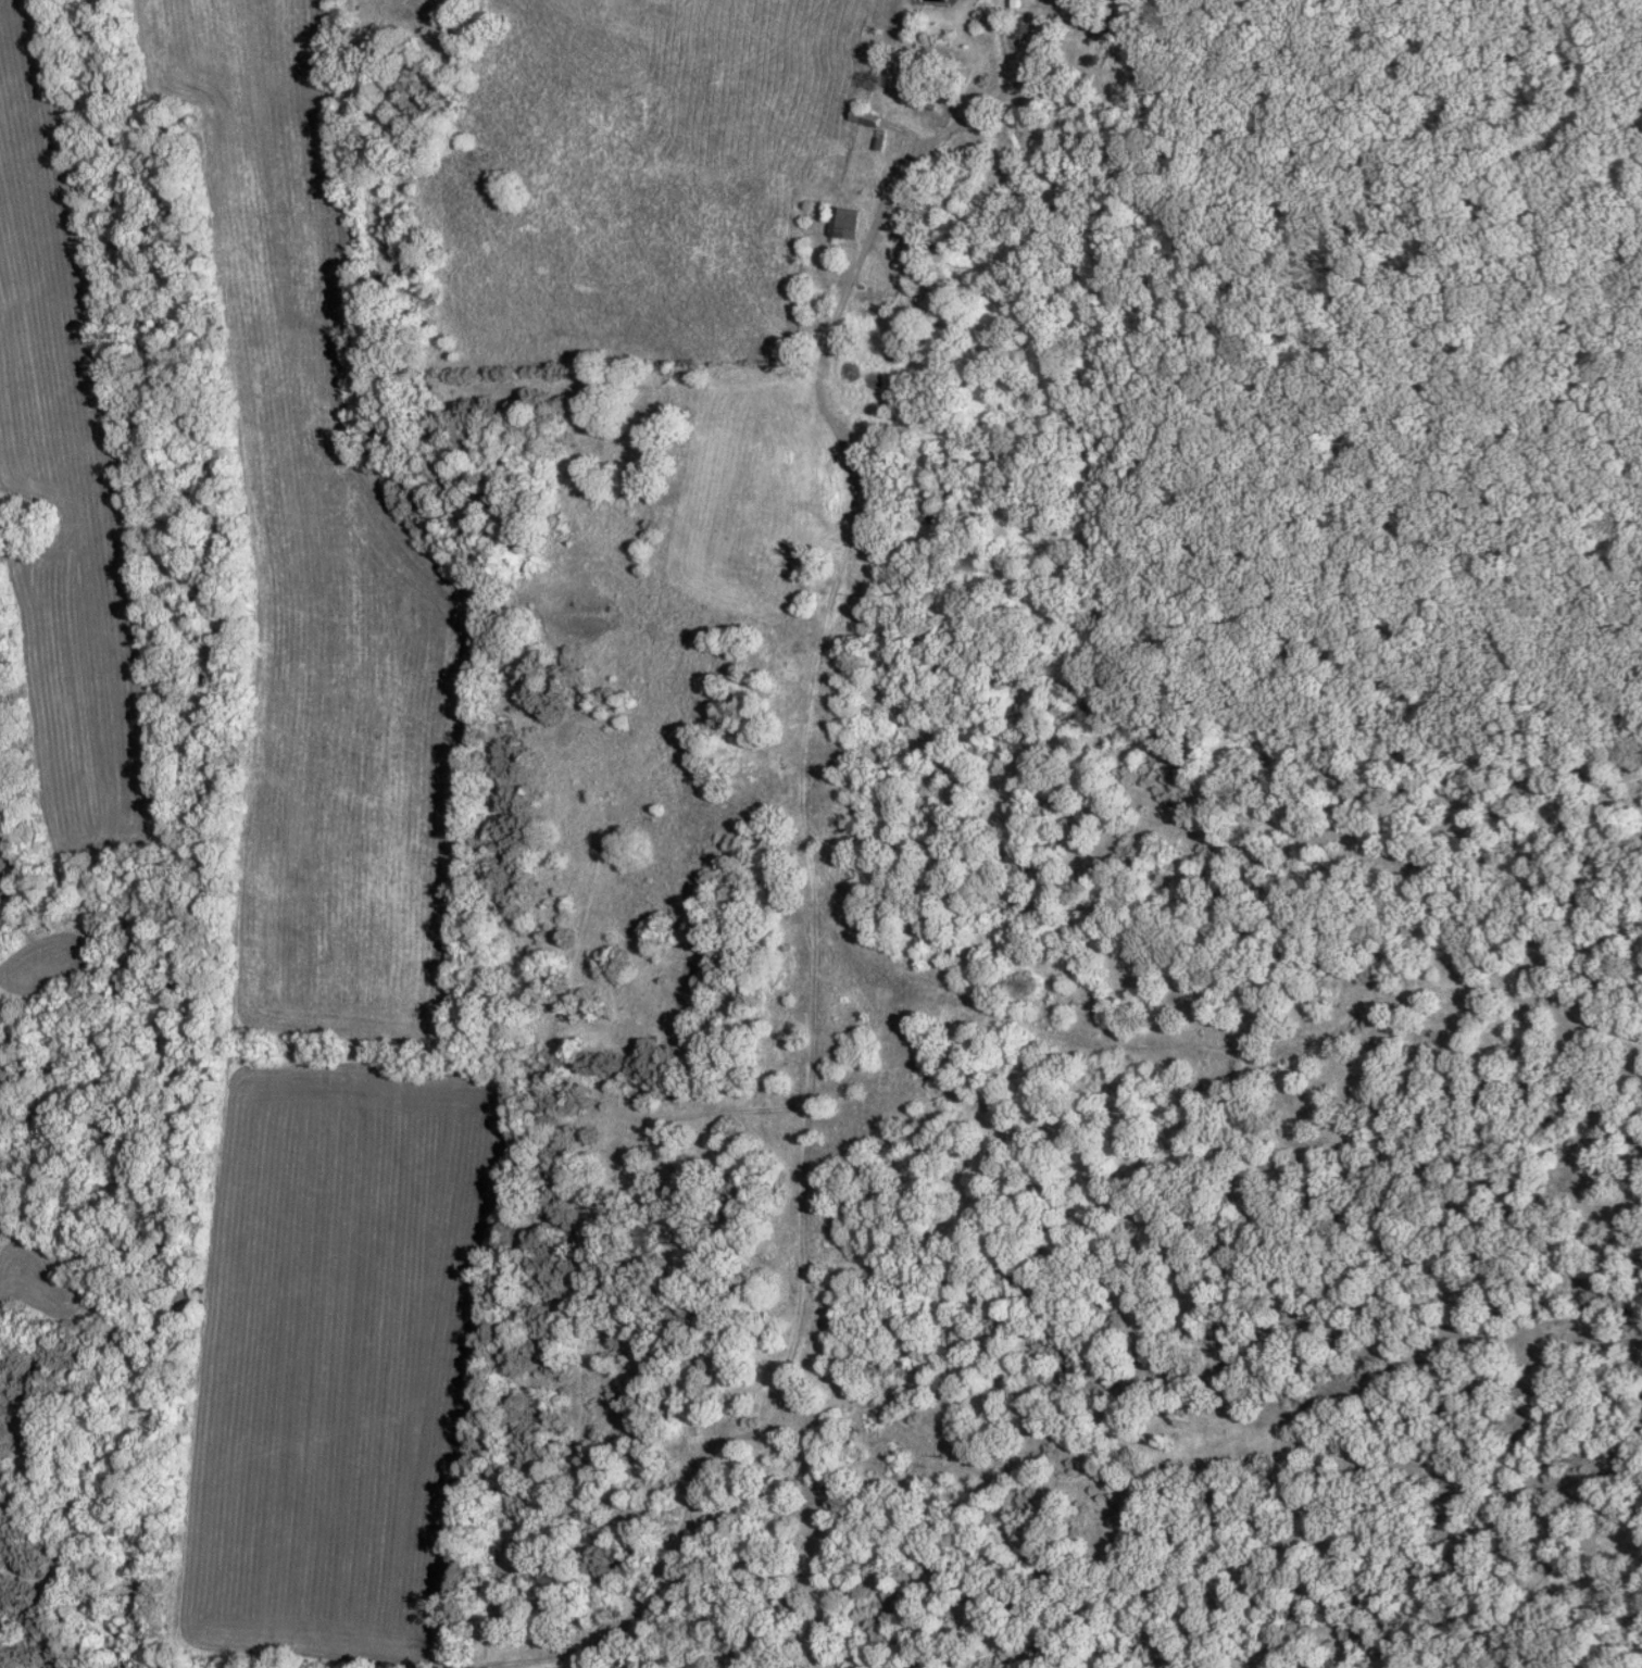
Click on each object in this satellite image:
building: (1087, 25)
building: (1021, 30)
building: (865, 118)
building: (844, 224)
road: (844, 463)

